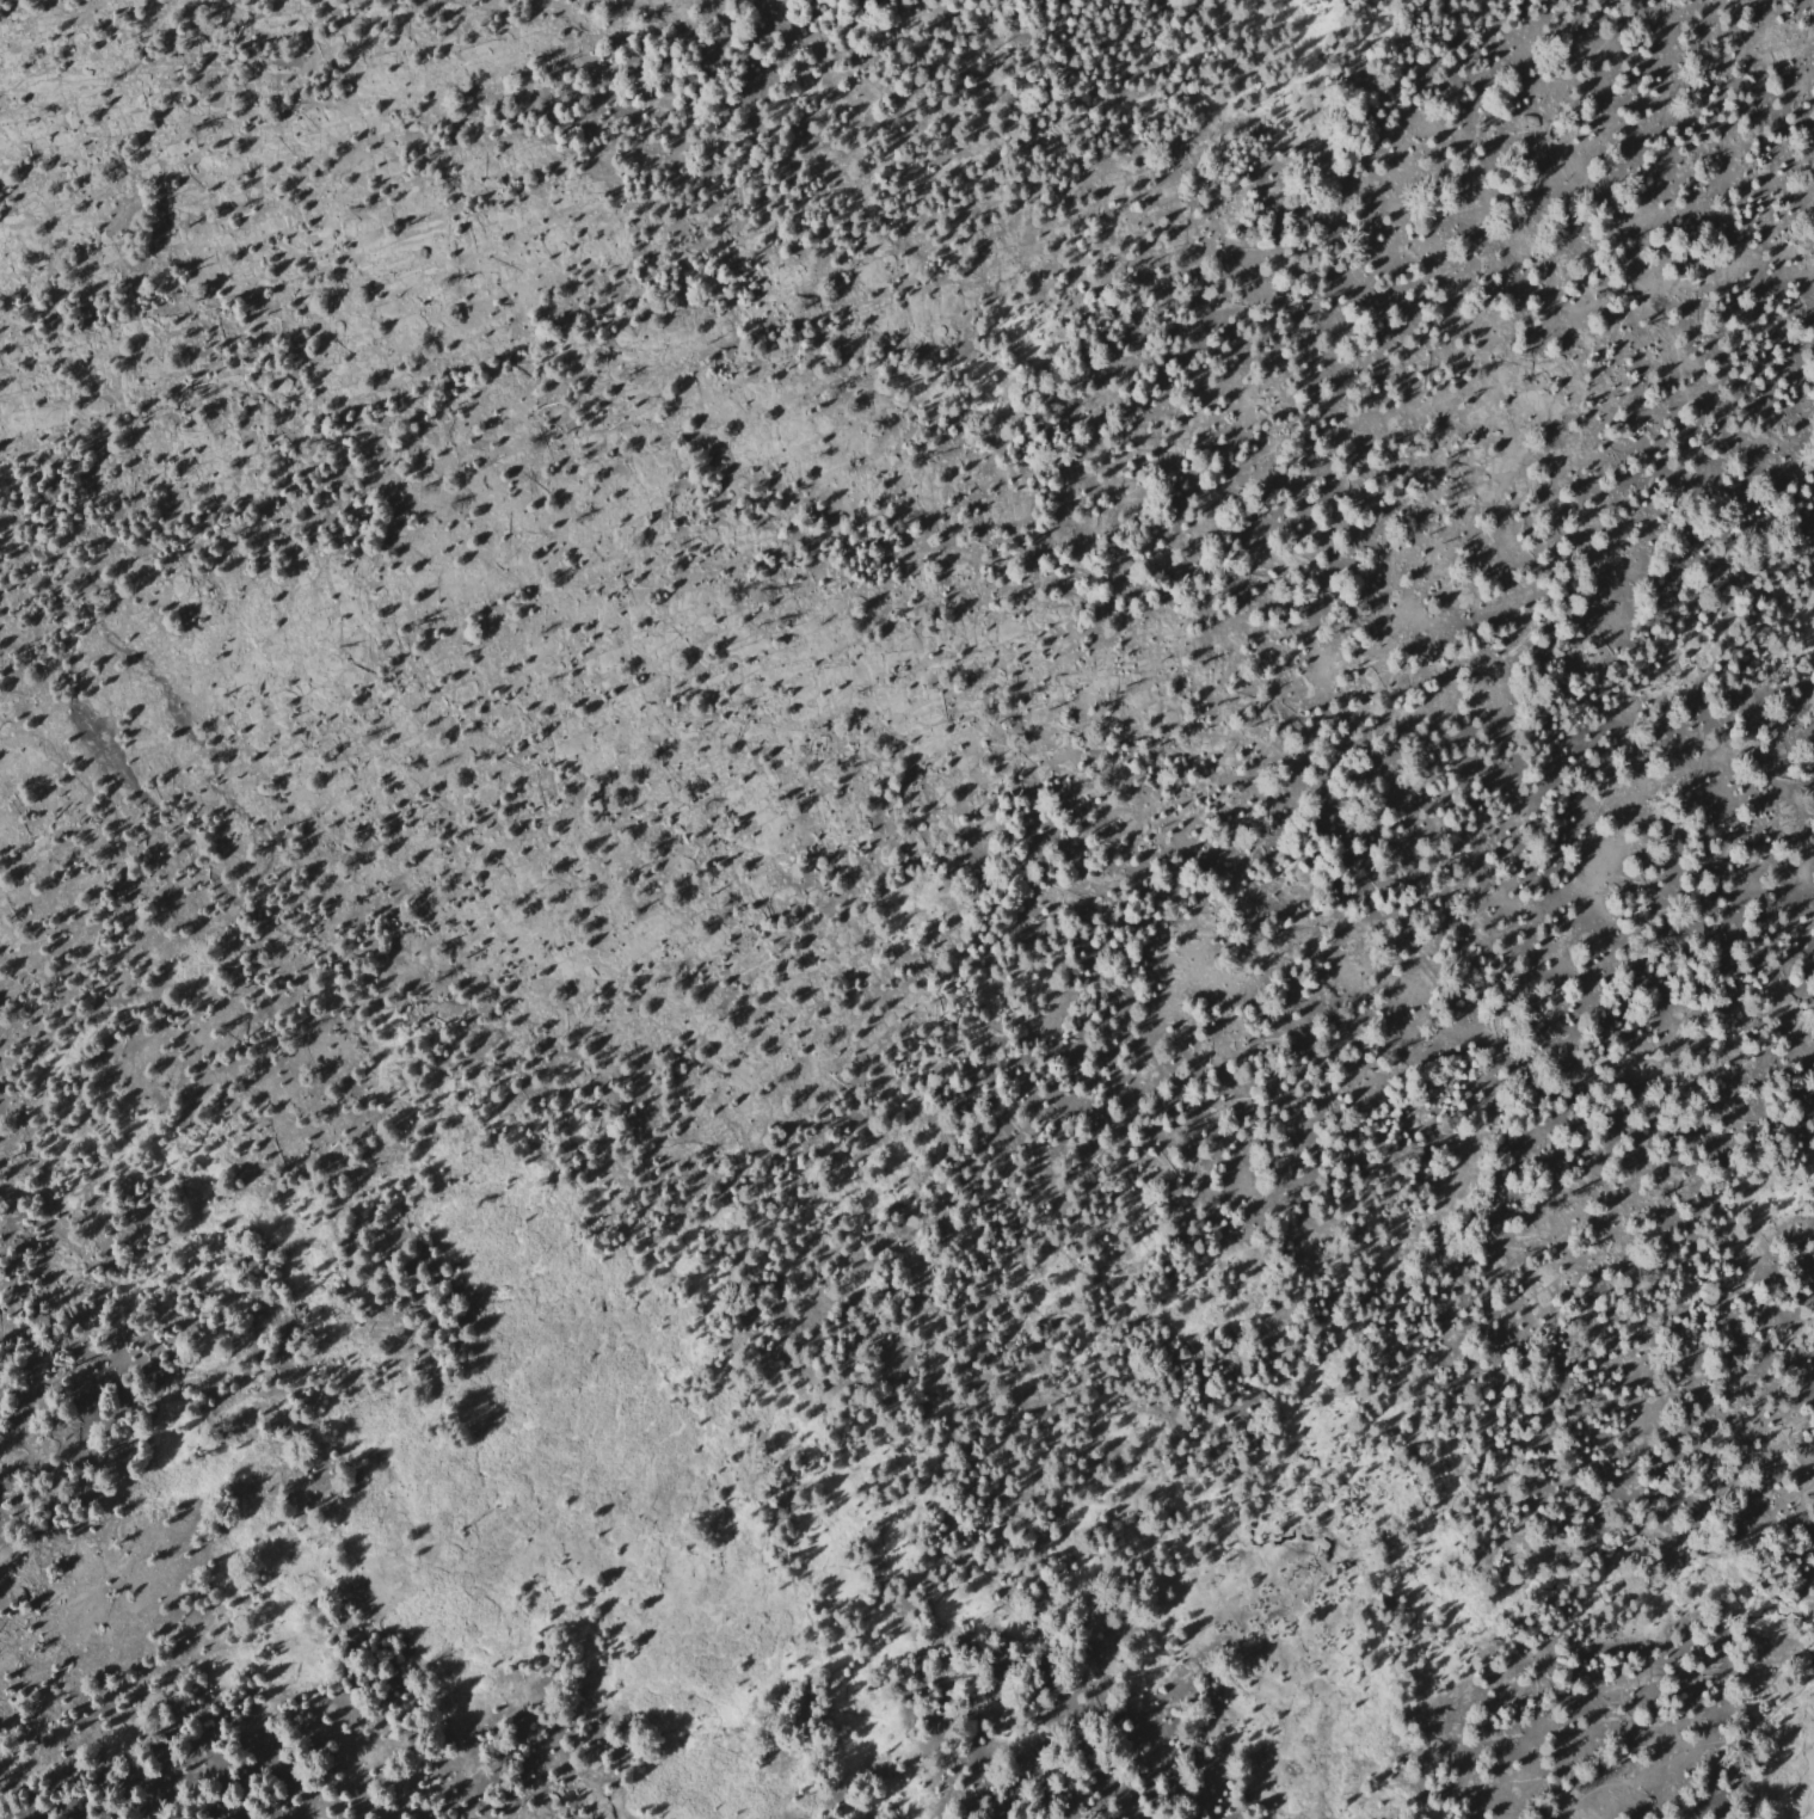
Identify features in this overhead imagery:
road: (1684, 547)
road: (1692, 1743)

